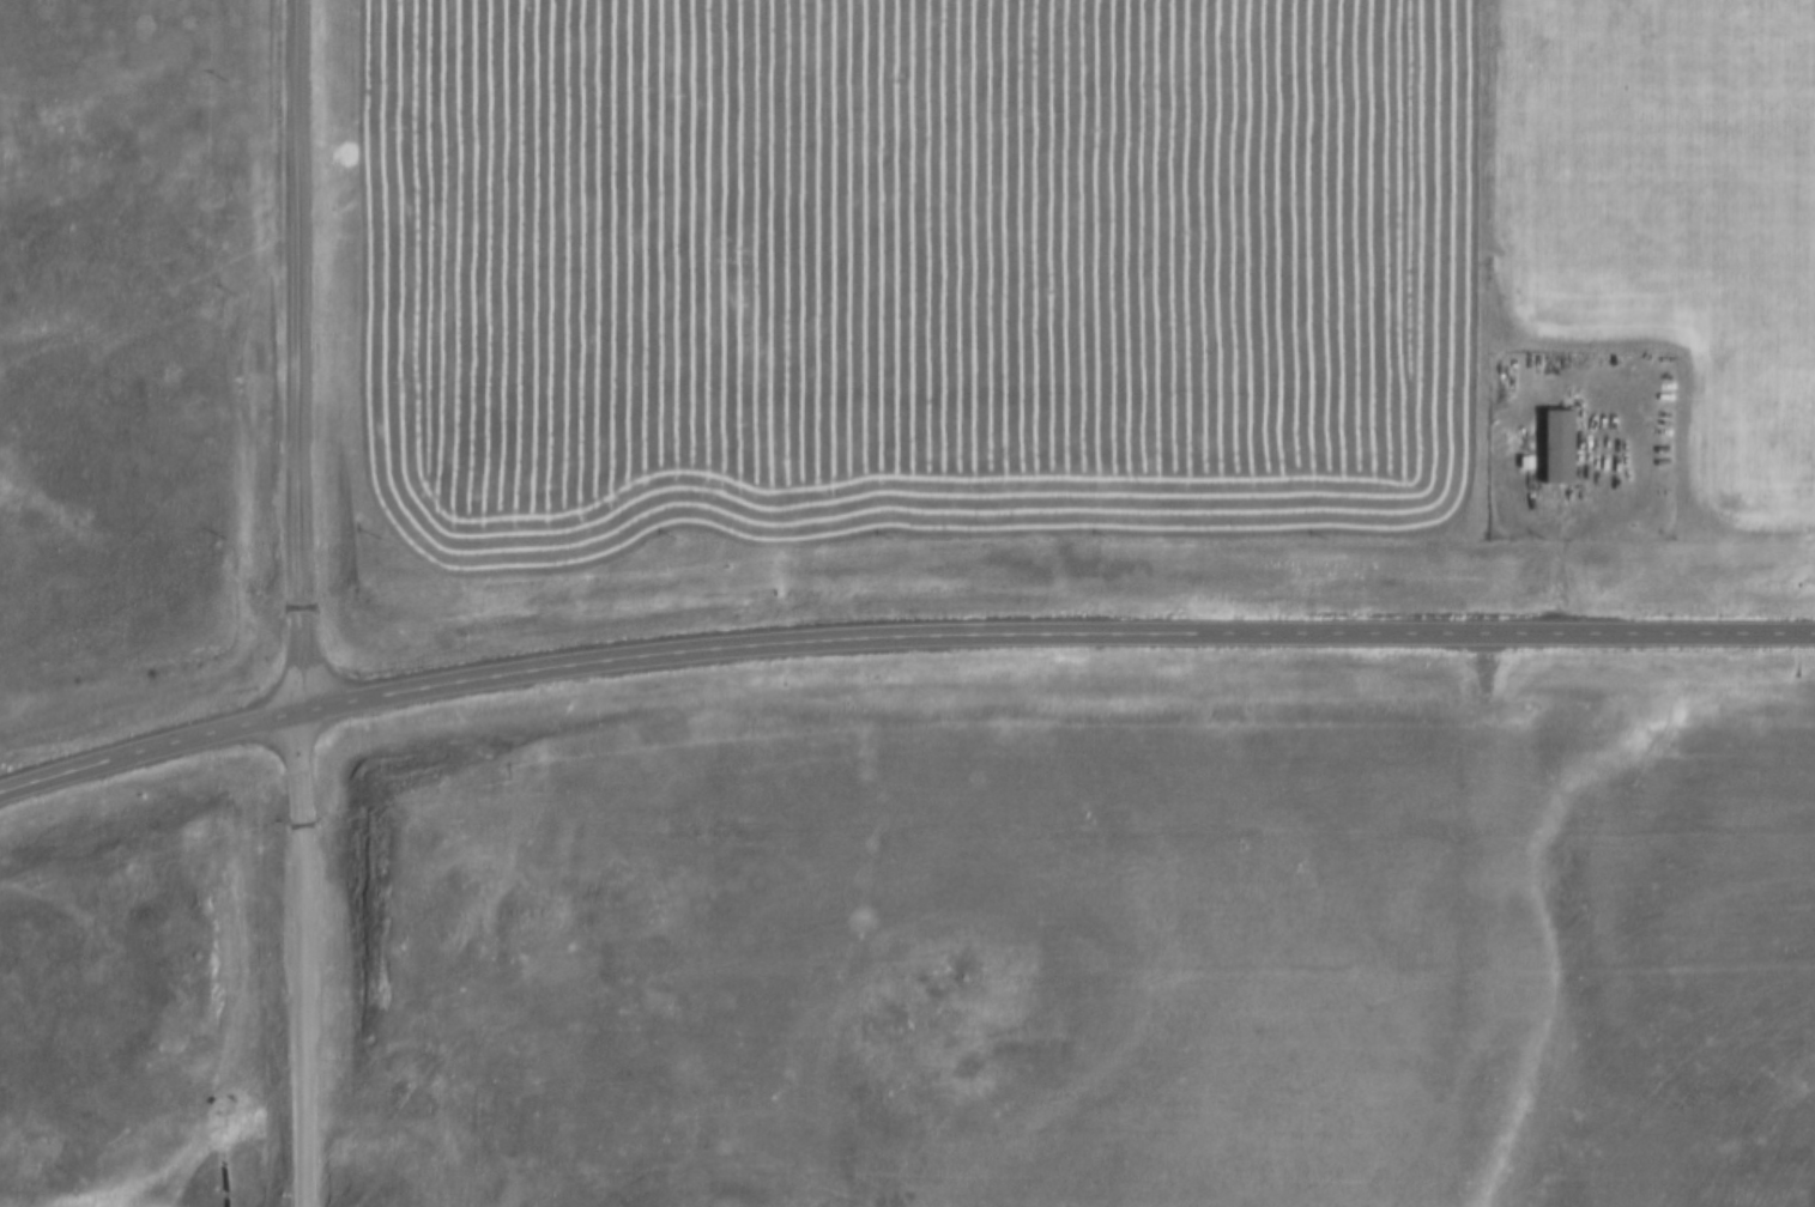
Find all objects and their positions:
road: (300, 357)
building: (1557, 448)
road: (1585, 509)
road: (900, 647)
road: (301, 960)

